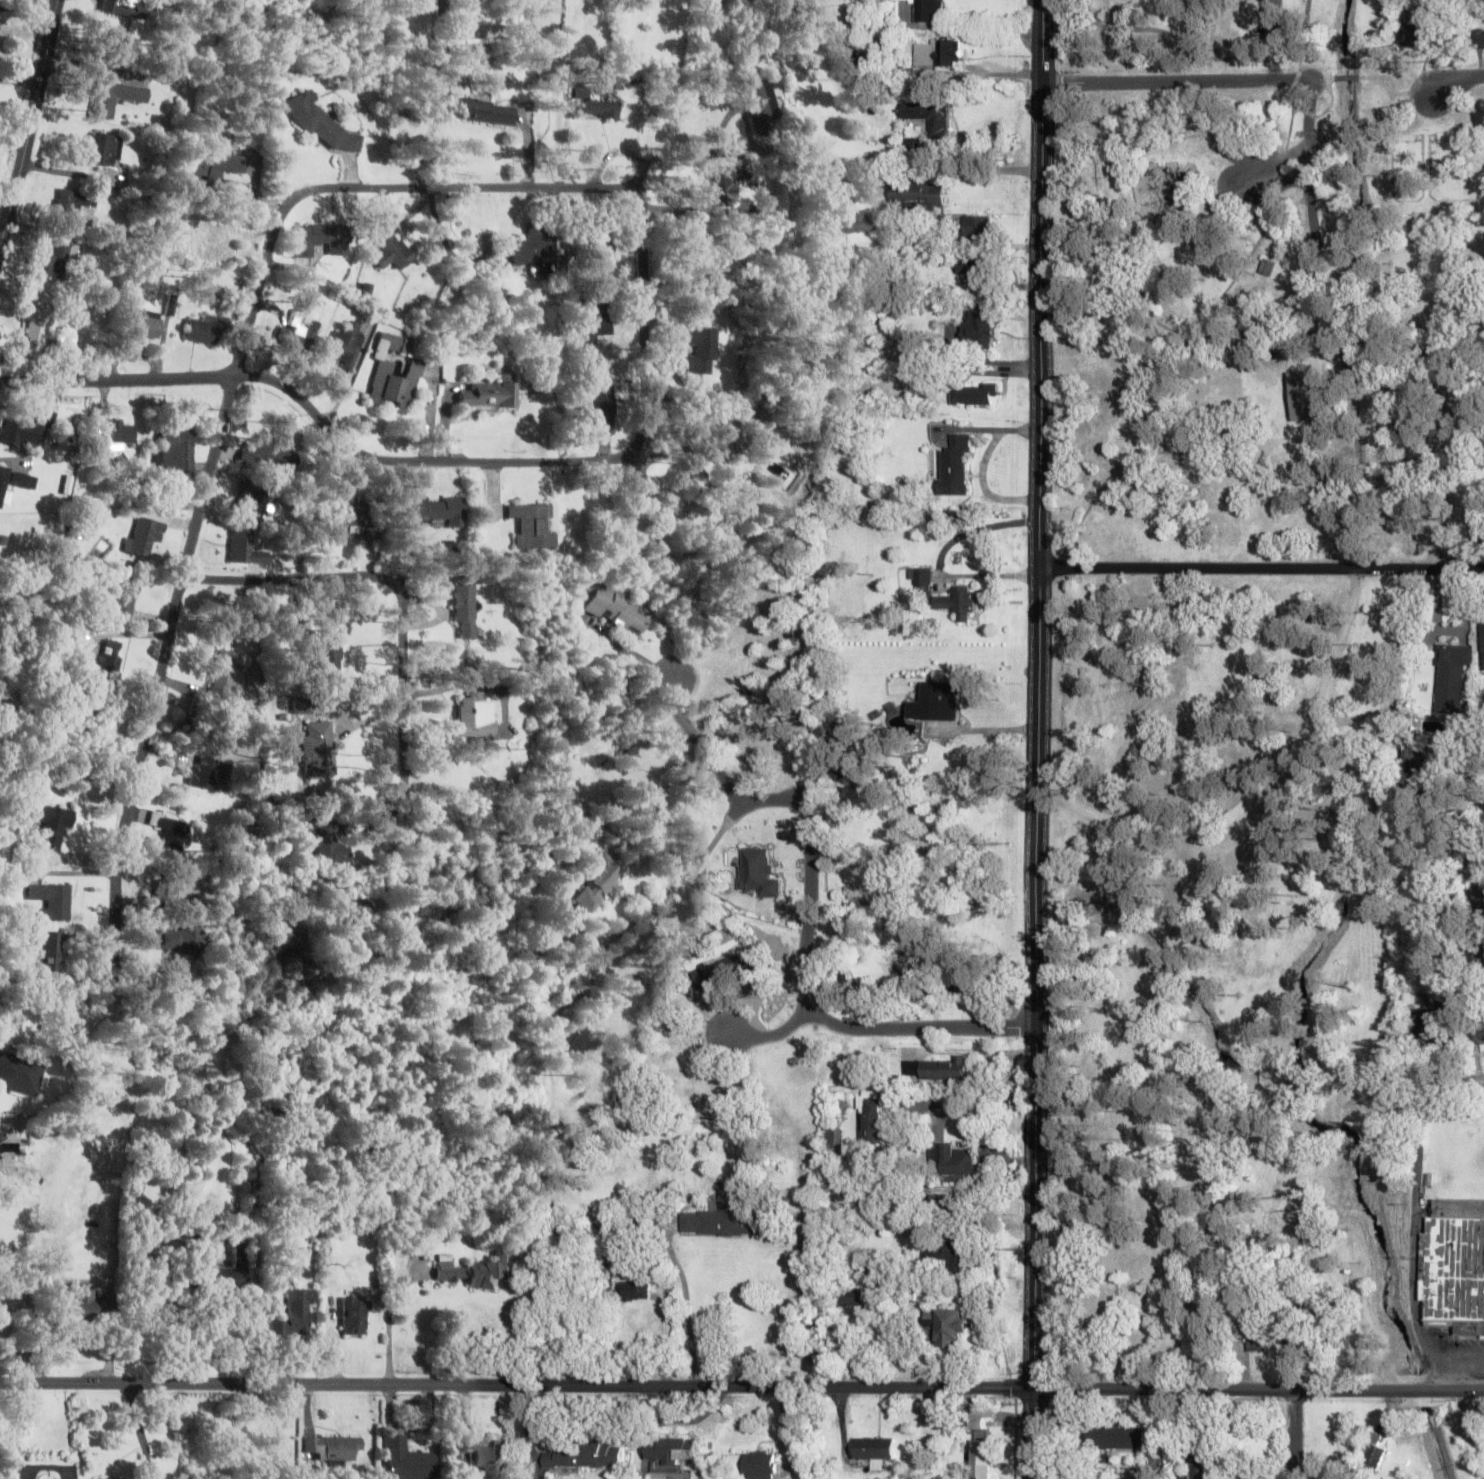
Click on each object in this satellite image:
road: (29, 3)
building: (723, 3)
building: (124, 7)
building: (927, 10)
park: (1192, 32)
road: (1300, 32)
building: (1417, 34)
road: (1170, 36)
building: (1478, 38)
road: (1273, 39)
road: (1041, 40)
building: (936, 53)
road: (1275, 59)
road: (1346, 76)
road: (1321, 77)
road: (1175, 80)
road: (1458, 81)
road: (1392, 92)
building: (116, 97)
building: (762, 106)
building: (601, 108)
building: (481, 110)
building: (929, 116)
building: (320, 121)
road: (30, 130)
building: (103, 148)
building: (212, 166)
road: (1222, 179)
building: (727, 184)
building: (917, 195)
building: (68, 205)
building: (853, 223)
building: (976, 225)
road: (643, 234)
building: (321, 239)
building: (602, 240)
building: (533, 244)
building: (392, 249)
building: (700, 261)
building: (53, 262)
building: (972, 264)
road: (1243, 265)
building: (1266, 266)
building: (597, 321)
building: (146, 324)
road: (1332, 325)
building: (977, 328)
building: (206, 330)
building: (37, 331)
building: (299, 334)
building: (348, 343)
building: (699, 352)
building: (383, 368)
road: (117, 380)
building: (491, 393)
building: (974, 393)
building: (1299, 395)
building: (603, 408)
building: (27, 430)
building: (120, 433)
building: (719, 438)
building: (180, 446)
building: (271, 453)
building: (954, 466)
building: (26, 480)
building: (3, 484)
building: (253, 503)
building: (441, 509)
building: (352, 519)
building: (535, 525)
building: (148, 531)
building: (0, 533)
building: (246, 547)
road: (1261, 568)
building: (923, 582)
road: (396, 586)
building: (127, 600)
building: (960, 602)
building: (612, 606)
building: (464, 611)
building: (1483, 645)
building: (326, 653)
building: (110, 660)
road: (162, 674)
building: (226, 674)
building: (1451, 677)
park: (1222, 691)
building: (936, 701)
building: (474, 718)
building: (86, 731)
road: (1036, 735)
building: (317, 749)
building: (205, 772)
road: (1259, 788)
building: (52, 825)
building: (170, 835)
building: (326, 840)
building: (937, 859)
building: (600, 881)
building: (166, 888)
building: (1479, 895)
building: (52, 900)
road: (808, 916)
building: (175, 939)
building: (50, 952)
building: (963, 981)
building: (1432, 1027)
building: (1476, 1030)
road: (773, 1035)
building: (944, 1069)
building: (20, 1074)
road: (1446, 1080)
building: (869, 1120)
building: (1, 1138)
building: (831, 1138)
building: (950, 1162)
building: (950, 1201)
building: (716, 1216)
building: (946, 1256)
building: (1456, 1265)
building: (450, 1269)
building: (224, 1272)
building: (490, 1272)
building: (604, 1284)
building: (637, 1291)
building: (851, 1298)
building: (80, 1301)
building: (295, 1312)
building: (354, 1315)
building: (949, 1325)
building: (1175, 1337)
building: (1256, 1338)
building: (1295, 1348)
road: (516, 1387)
road: (1257, 1391)
building: (933, 1415)
road: (1031, 1435)
road: (1294, 1435)
building: (1115, 1437)
building: (331, 1448)
building: (876, 1450)
building: (670, 1453)
building: (983, 1453)
building: (1372, 1454)
building: (484, 1455)
building: (585, 1456)
building: (405, 1460)
building: (1202, 1462)
building: (761, 1464)
building: (96, 1478)

